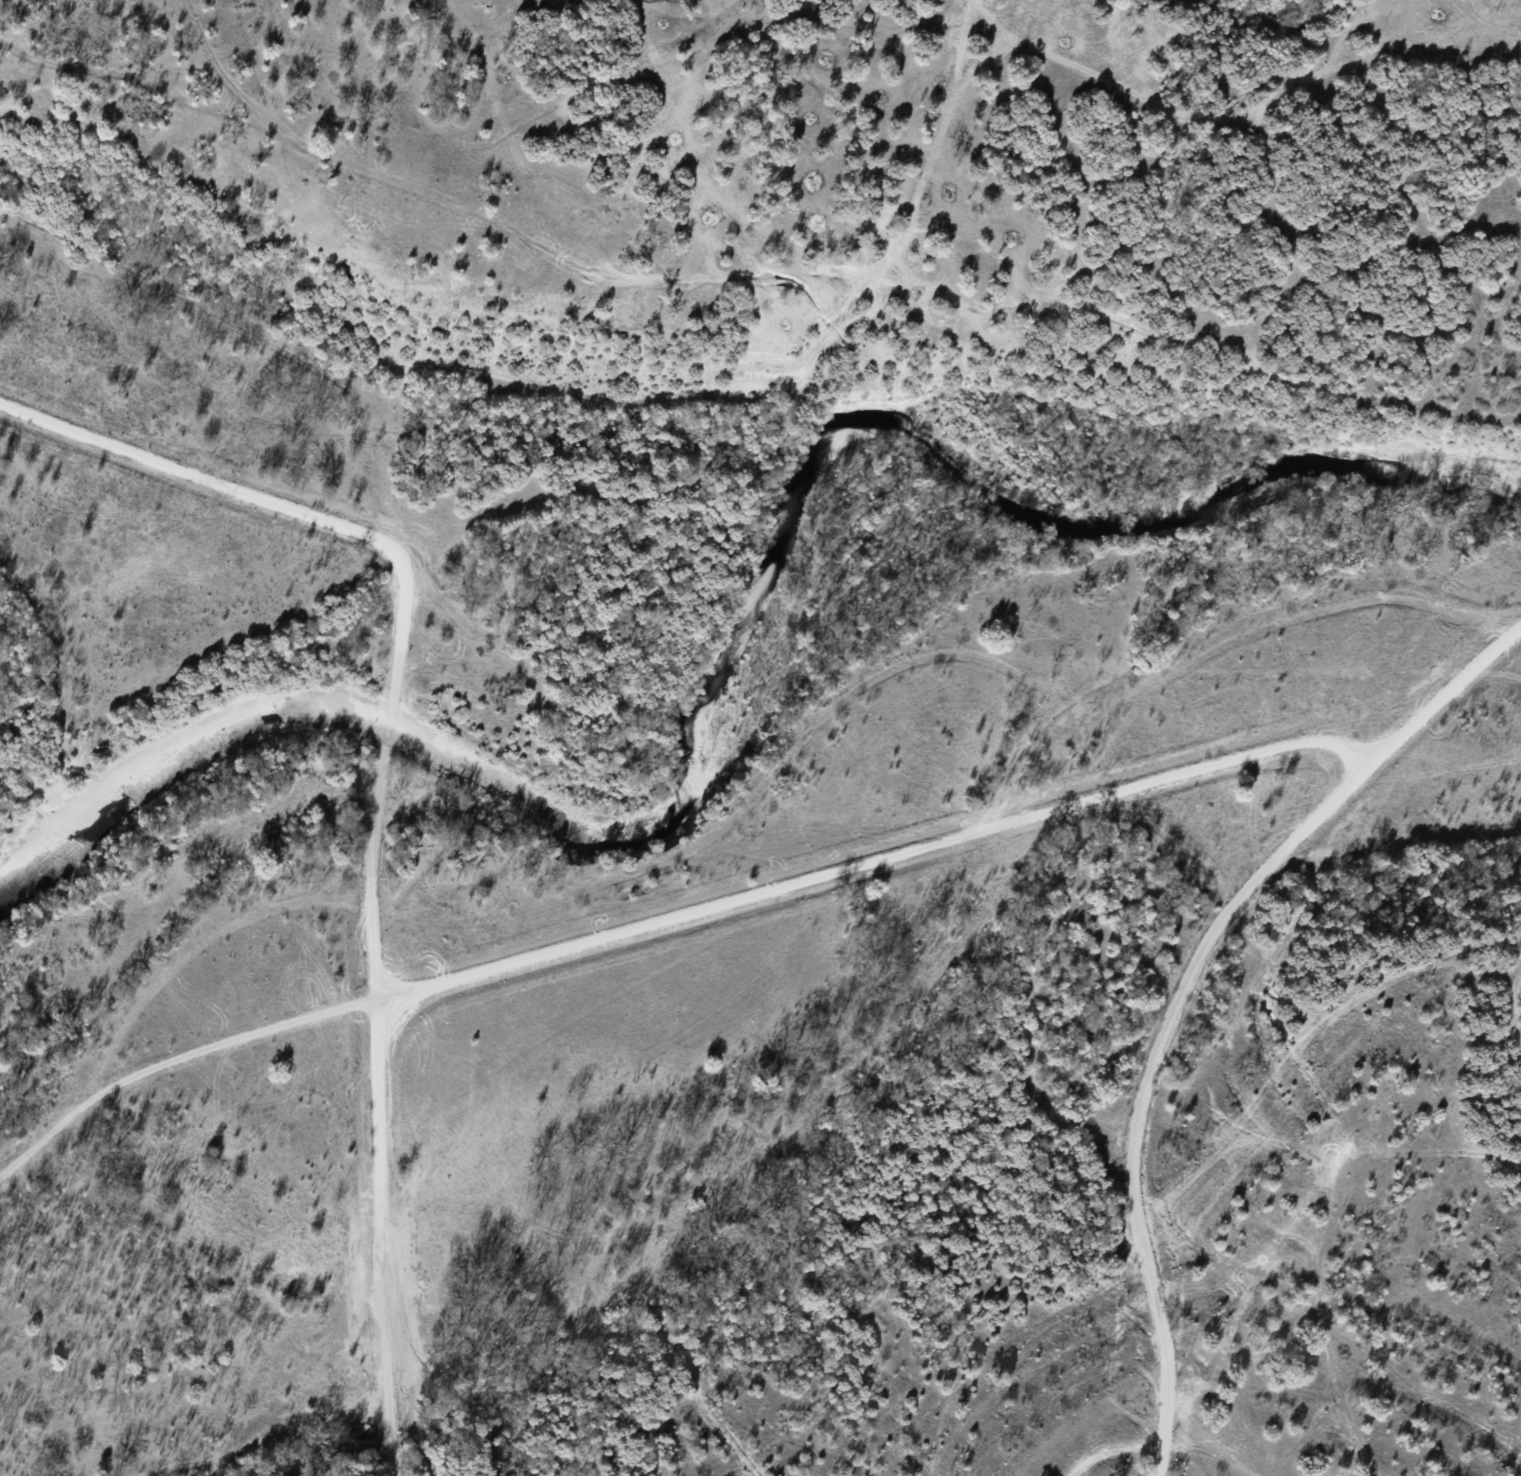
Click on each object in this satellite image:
road: (1380, 742)
road: (368, 799)
road: (667, 908)

